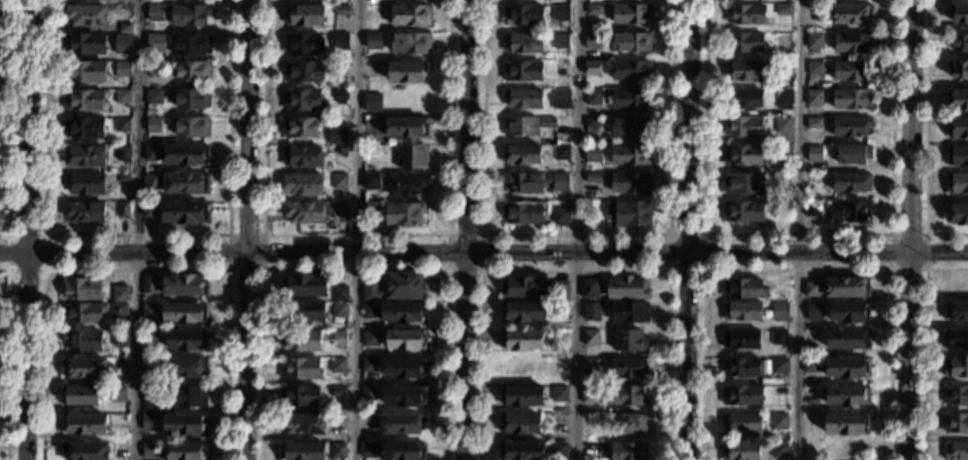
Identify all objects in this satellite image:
building: (783, 9)
building: (594, 10)
building: (341, 11)
building: (154, 13)
building: (561, 13)
building: (816, 13)
building: (630, 14)
building: (746, 14)
building: (851, 14)
building: (190, 15)
building: (304, 15)
building: (411, 15)
building: (523, 15)
building: (960, 15)
building: (87, 16)
building: (125, 28)
building: (374, 41)
building: (561, 41)
building: (593, 41)
building: (340, 42)
building: (630, 42)
building: (745, 42)
building: (814, 42)
building: (852, 42)
building: (123, 43)
building: (155, 43)
building: (523, 43)
building: (960, 43)
building: (86, 44)
building: (303, 44)
building: (410, 44)
building: (190, 45)
building: (783, 66)
building: (154, 68)
building: (592, 68)
building: (815, 68)
building: (122, 69)
building: (373, 69)
building: (561, 69)
building: (340, 70)
building: (631, 70)
building: (958, 70)
building: (193, 71)
building: (303, 71)
building: (523, 71)
building: (745, 71)
building: (851, 71)
building: (85, 72)
building: (407, 72)
building: (122, 96)
building: (340, 96)
building: (154, 97)
building: (593, 97)
building: (813, 97)
building: (523, 98)
building: (743, 98)
building: (192, 99)
building: (561, 99)
building: (629, 99)
building: (852, 99)
building: (84, 100)
building: (302, 100)
building: (784, 100)
building: (957, 100)
building: (373, 102)
road: (11, 122)
building: (591, 122)
building: (547, 123)
road: (690, 123)
building: (814, 123)
building: (121, 124)
building: (154, 124)
building: (783, 125)
road: (911, 125)
building: (851, 126)
building: (300, 127)
building: (407, 127)
building: (521, 127)
building: (631, 127)
building: (743, 127)
building: (84, 128)
building: (192, 128)
building: (959, 128)
building: (337, 136)
road: (926, 137)
building: (370, 151)
building: (339, 152)
building: (561, 152)
building: (122, 153)
building: (152, 153)
building: (782, 153)
building: (593, 154)
building: (814, 154)
building: (186, 155)
building: (302, 155)
building: (522, 155)
building: (630, 155)
building: (743, 155)
building: (853, 155)
building: (87, 156)
building: (957, 156)
building: (413, 157)
building: (122, 178)
building: (560, 178)
building: (594, 178)
building: (782, 179)
building: (339, 181)
building: (371, 181)
building: (151, 182)
building: (523, 182)
building: (851, 182)
building: (630, 183)
building: (743, 183)
building: (957, 183)
building: (86, 184)
building: (186, 184)
building: (303, 184)
building: (407, 185)
building: (809, 187)
building: (782, 205)
building: (342, 209)
building: (369, 209)
building: (812, 209)
building: (123, 210)
building: (149, 210)
building: (303, 211)
building: (743, 211)
building: (851, 211)
building: (84, 212)
building: (185, 213)
building: (523, 213)
building: (628, 213)
building: (404, 214)
building: (958, 215)
building: (562, 216)
road: (28, 229)
road: (247, 229)
road: (355, 229)
road: (137, 230)
road: (468, 230)
road: (578, 230)
road: (798, 230)
road: (9, 234)
road: (135, 234)
road: (574, 234)
road: (796, 234)
road: (355, 235)
road: (447, 235)
road: (344, 248)
road: (800, 249)
road: (939, 251)
road: (669, 267)
road: (228, 268)
road: (796, 268)
road: (890, 268)
road: (135, 269)
road: (353, 269)
road: (576, 269)
building: (149, 285)
building: (185, 285)
building: (305, 286)
building: (403, 286)
building: (524, 287)
building: (627, 288)
building: (846, 288)
building: (81, 289)
building: (560, 289)
building: (590, 289)
building: (744, 289)
building: (811, 289)
building: (370, 290)
building: (121, 294)
building: (340, 294)
building: (119, 310)
building: (149, 310)
building: (339, 310)
building: (369, 311)
building: (743, 311)
building: (780, 311)
building: (814, 311)
building: (956, 311)
building: (185, 312)
building: (305, 312)
building: (402, 312)
building: (523, 312)
building: (590, 312)
building: (629, 312)
building: (848, 312)
building: (83, 313)
building: (590, 337)
building: (149, 338)
building: (778, 338)
building: (120, 339)
building: (371, 339)
building: (847, 339)
building: (187, 340)
building: (302, 340)
building: (339, 340)
building: (405, 340)
building: (522, 340)
building: (741, 340)
building: (956, 340)
building: (84, 341)
building: (630, 341)
road: (924, 342)
road: (688, 354)
road: (910, 355)
road: (7, 360)
building: (369, 365)
building: (149, 366)
building: (337, 366)
building: (778, 366)
building: (810, 366)
building: (591, 367)
building: (741, 367)
building: (85, 368)
building: (186, 368)
building: (404, 368)
building: (629, 368)
building: (956, 368)
building: (120, 369)
building: (302, 369)
building: (847, 369)
building: (780, 391)
building: (338, 392)
building: (368, 393)
building: (559, 393)
building: (118, 394)
building: (150, 394)
building: (301, 395)
building: (589, 395)
building: (80, 396)
building: (188, 396)
building: (403, 396)
building: (522, 396)
building: (628, 396)
building: (743, 396)
building: (847, 396)
building: (956, 396)
building: (588, 421)
building: (369, 422)
building: (778, 422)
building: (149, 423)
building: (520, 423)
building: (558, 423)
building: (741, 423)
building: (955, 423)
building: (84, 424)
building: (184, 424)
building: (303, 424)
building: (404, 424)
building: (634, 424)
building: (846, 424)
building: (558, 449)
building: (368, 450)
building: (403, 450)
building: (522, 450)
building: (86, 451)
building: (148, 451)
building: (183, 451)
building: (302, 451)
building: (338, 451)
building: (627, 451)
building: (742, 451)
building: (779, 451)
building: (848, 451)
building: (956, 451)

